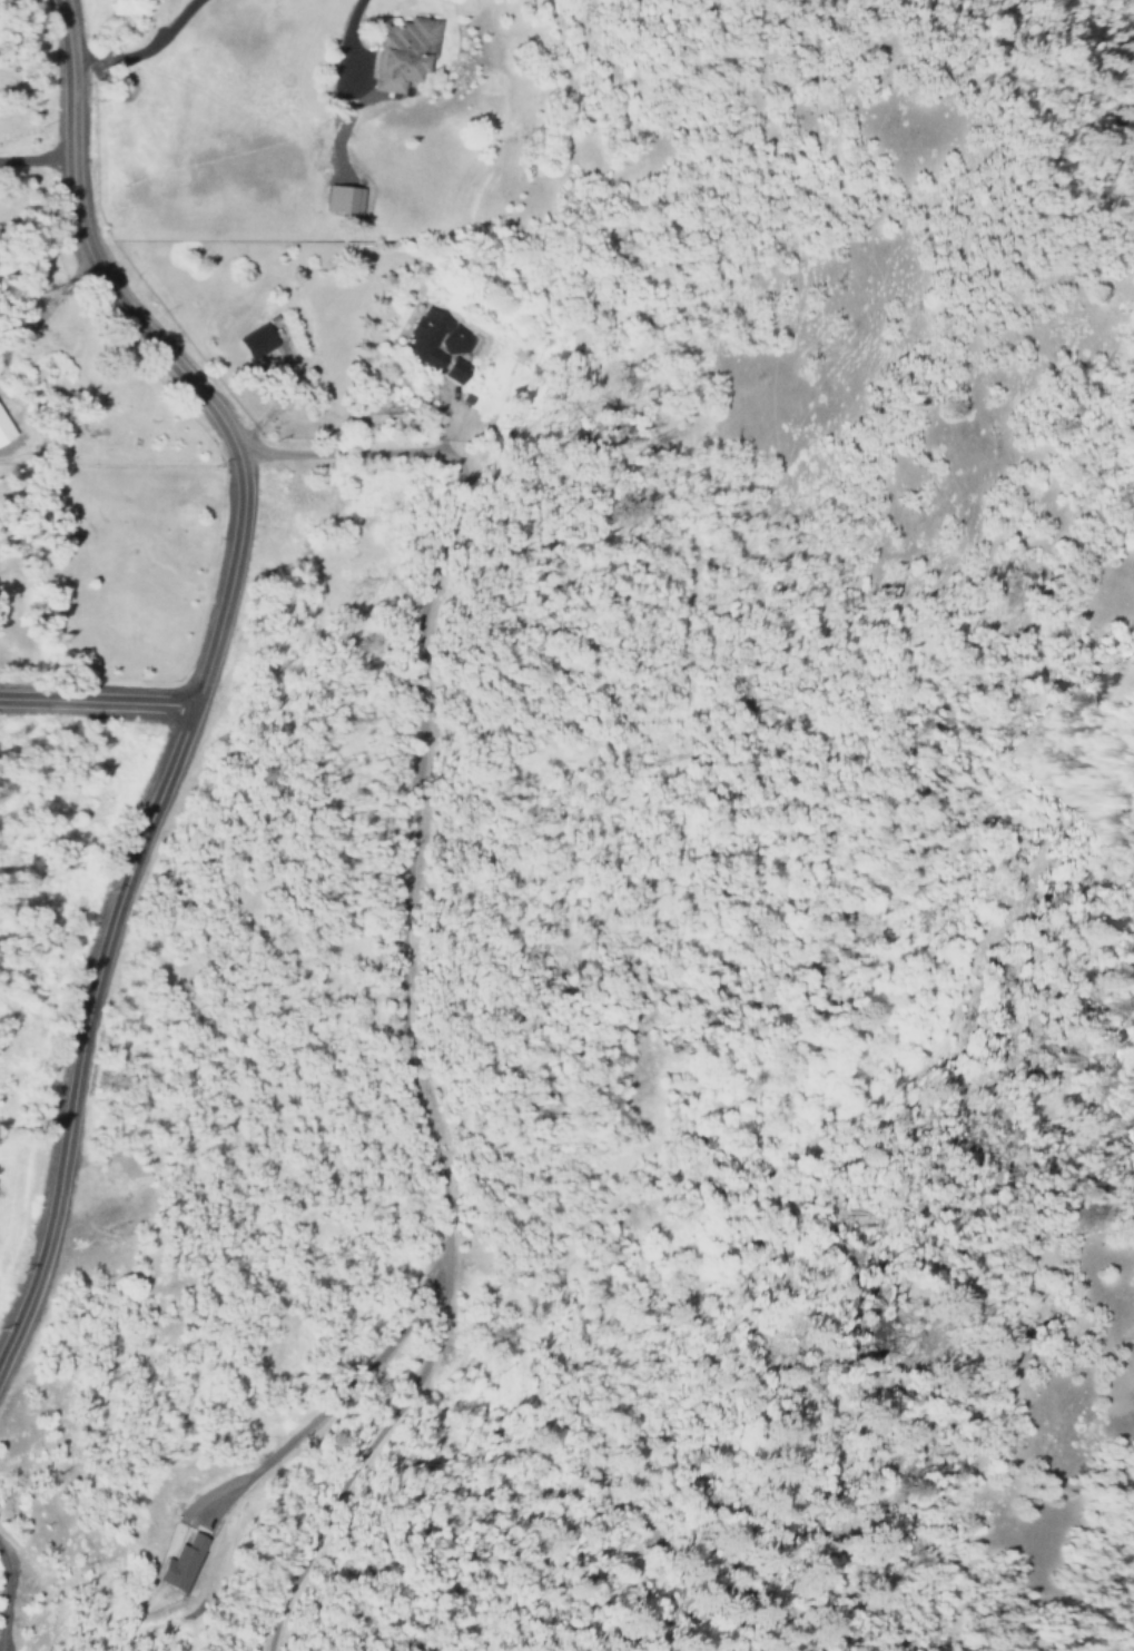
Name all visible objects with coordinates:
building: (402, 53)
building: (343, 198)
road: (86, 240)
building: (433, 338)
building: (256, 340)
building: (455, 370)
road: (93, 692)
road: (118, 898)
road: (403, 958)
building: (186, 1564)

